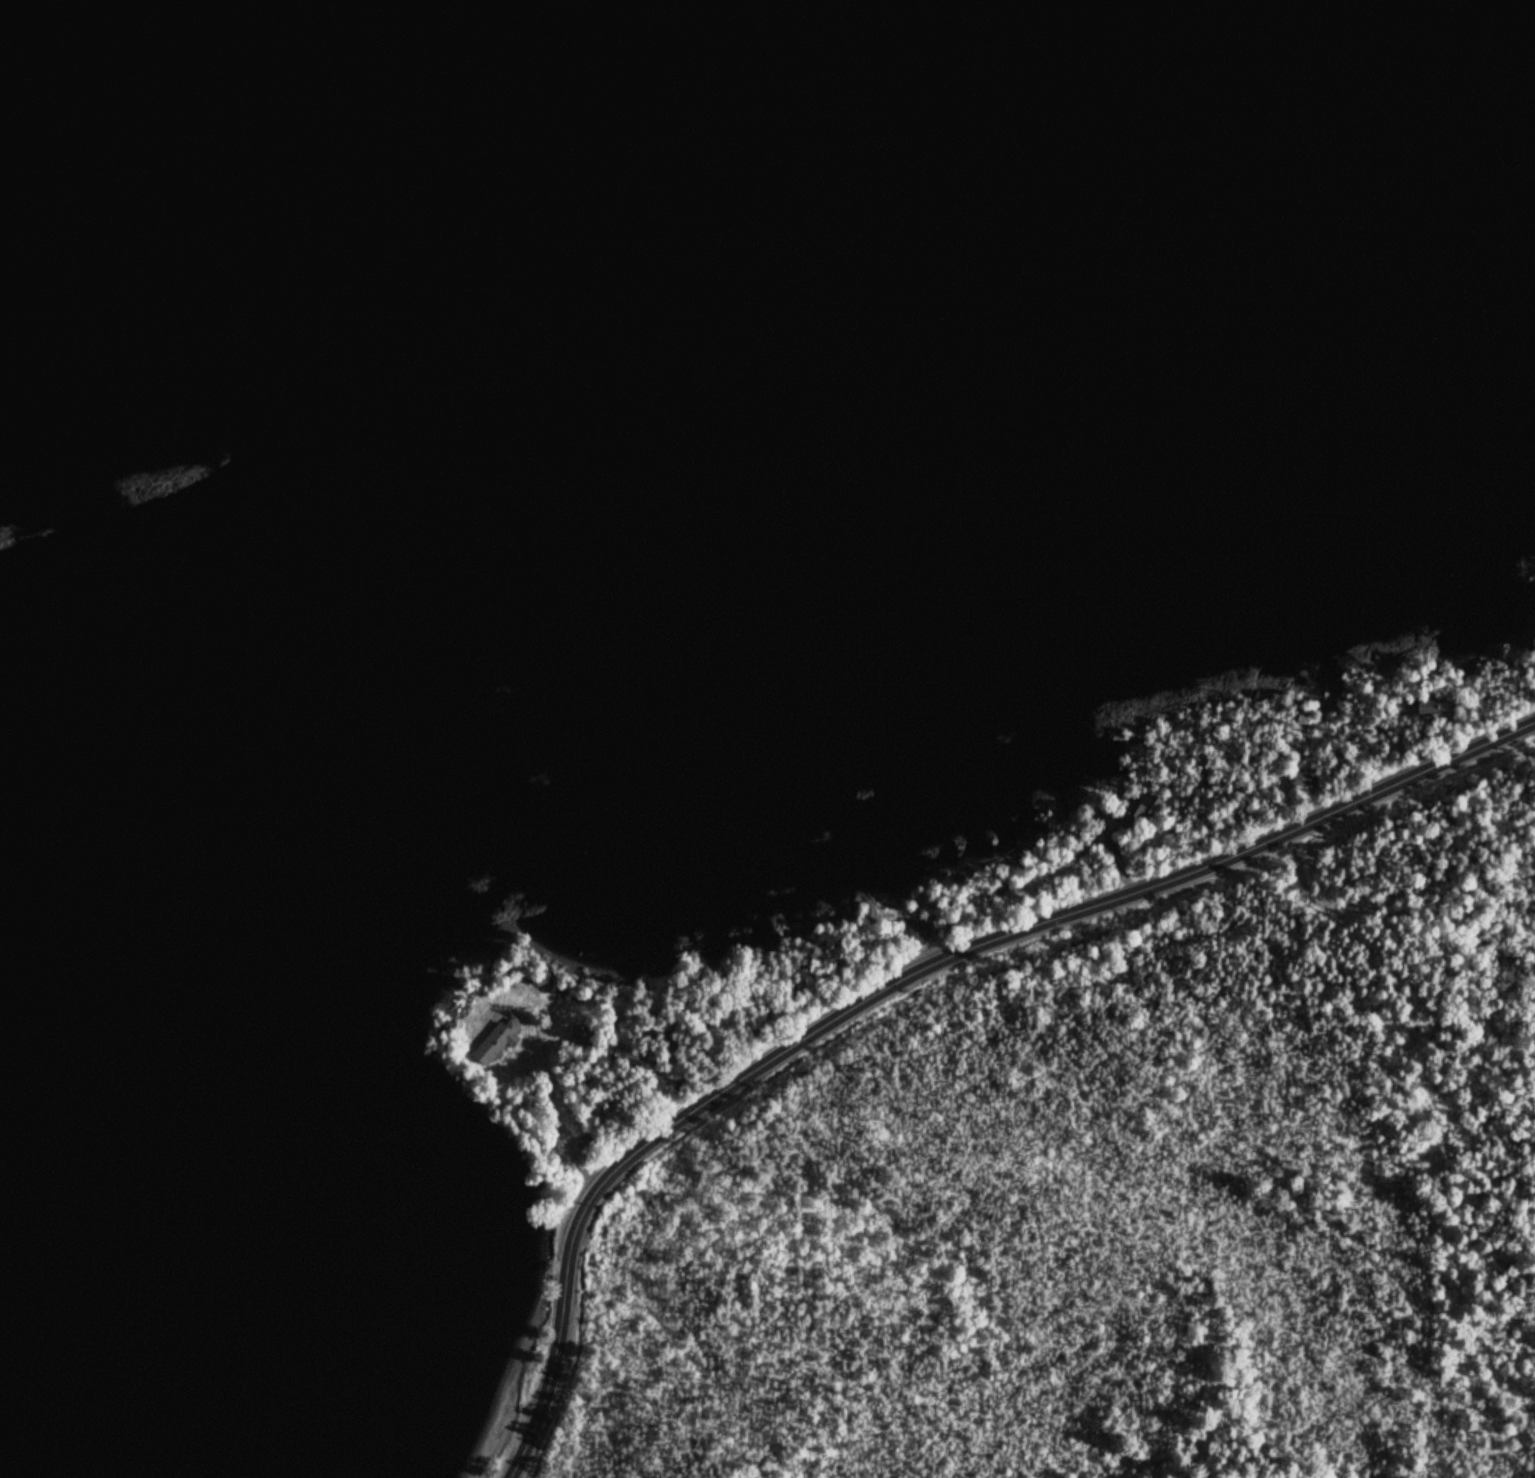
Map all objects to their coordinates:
road: (906, 977)
building: (501, 1041)

